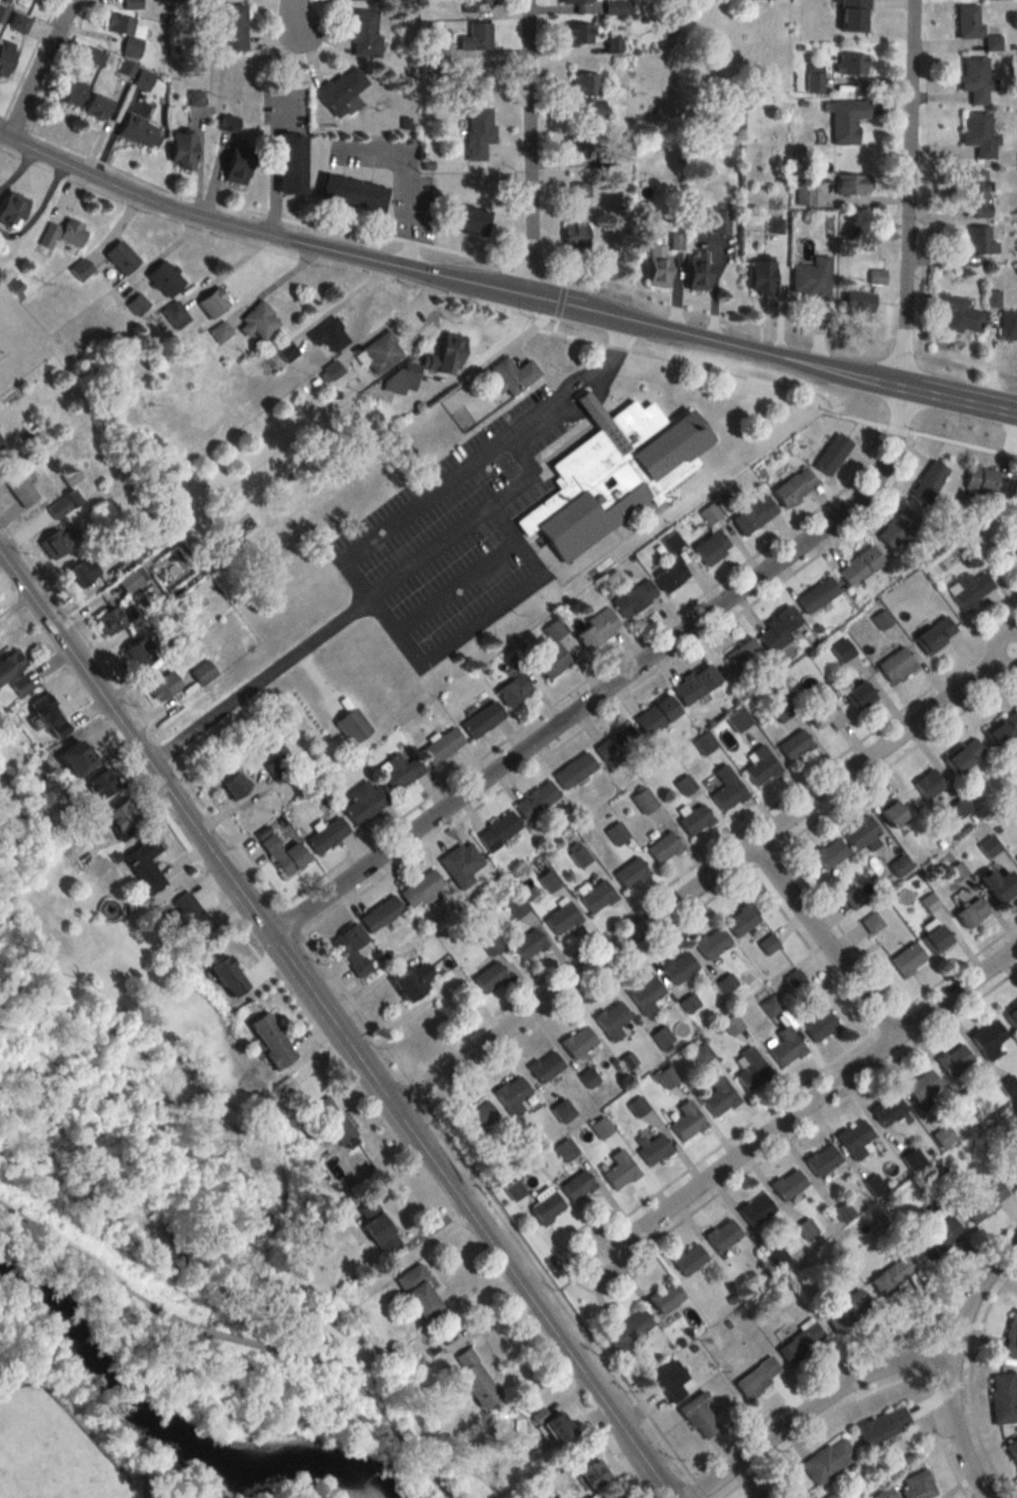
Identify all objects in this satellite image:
building: (571, 3)
building: (131, 4)
building: (478, 6)
building: (617, 7)
building: (852, 15)
road: (288, 21)
building: (967, 22)
building: (16, 23)
building: (231, 27)
building: (124, 33)
building: (576, 33)
building: (362, 34)
building: (475, 37)
building: (612, 45)
building: (5, 55)
building: (851, 63)
building: (125, 69)
road: (37, 70)
building: (975, 78)
building: (477, 81)
building: (340, 87)
building: (70, 89)
building: (586, 93)
building: (195, 97)
building: (95, 106)
building: (846, 120)
building: (136, 130)
building: (477, 131)
building: (978, 134)
road: (13, 145)
building: (572, 147)
building: (179, 149)
road: (527, 149)
building: (288, 163)
road: (269, 165)
building: (233, 166)
road: (17, 172)
road: (407, 182)
building: (850, 184)
building: (580, 189)
building: (975, 191)
building: (349, 193)
road: (906, 194)
building: (10, 209)
road: (37, 209)
building: (720, 218)
building: (467, 221)
road: (305, 226)
building: (61, 234)
building: (574, 236)
road: (273, 238)
building: (978, 241)
building: (118, 257)
road: (158, 258)
building: (655, 266)
road: (224, 269)
building: (695, 271)
building: (875, 276)
building: (162, 278)
building: (759, 278)
building: (810, 279)
road: (270, 286)
building: (210, 302)
building: (857, 302)
building: (135, 304)
road: (339, 305)
building: (173, 314)
building: (957, 314)
building: (256, 321)
road: (391, 322)
building: (1008, 325)
building: (218, 331)
building: (326, 336)
building: (284, 351)
building: (378, 352)
building: (446, 353)
road: (483, 357)
road: (772, 357)
building: (329, 370)
building: (510, 375)
building: (400, 377)
road: (780, 385)
road: (571, 387)
building: (3, 449)
building: (830, 454)
road: (527, 456)
building: (615, 474)
road: (455, 480)
building: (927, 482)
building: (987, 483)
building: (792, 487)
building: (17, 488)
building: (62, 505)
building: (751, 515)
building: (896, 529)
road: (456, 534)
building: (58, 542)
road: (514, 543)
building: (139, 547)
building: (709, 547)
park: (1000, 548)
road: (1006, 548)
building: (857, 567)
building: (78, 573)
building: (668, 576)
building: (131, 580)
road: (456, 587)
building: (967, 590)
building: (815, 595)
building: (633, 598)
road: (384, 612)
building: (109, 620)
road: (481, 621)
building: (596, 629)
building: (777, 630)
building: (933, 635)
building: (175, 640)
road: (1016, 645)
building: (841, 650)
building: (134, 655)
building: (741, 656)
building: (549, 660)
building: (8, 663)
building: (894, 665)
building: (200, 673)
road: (261, 681)
road: (613, 682)
road: (322, 683)
building: (693, 685)
building: (15, 686)
building: (161, 687)
building: (511, 690)
building: (858, 696)
building: (822, 714)
building: (655, 715)
building: (44, 717)
building: (481, 719)
building: (351, 725)
building: (1002, 730)
building: (614, 743)
building: (440, 746)
building: (793, 746)
building: (962, 756)
building: (758, 766)
building: (275, 770)
building: (572, 771)
building: (396, 772)
building: (926, 783)
building: (97, 784)
building: (229, 787)
building: (726, 789)
building: (534, 800)
building: (643, 801)
building: (361, 802)
building: (959, 807)
road: (760, 814)
building: (890, 814)
building: (694, 820)
building: (496, 830)
building: (860, 834)
building: (325, 836)
building: (988, 847)
building: (661, 849)
building: (828, 853)
building: (281, 855)
building: (579, 856)
road: (0, 857)
building: (459, 865)
building: (141, 866)
building: (898, 866)
building: (629, 873)
road: (705, 880)
building: (997, 887)
building: (418, 889)
road: (720, 890)
building: (595, 897)
building: (853, 898)
building: (515, 907)
building: (969, 913)
building: (378, 915)
building: (183, 917)
building: (560, 918)
building: (740, 920)
building: (871, 923)
building: (347, 938)
building: (935, 939)
road: (823, 941)
building: (710, 942)
building: (766, 944)
building: (490, 945)
building: (526, 945)
building: (906, 959)
building: (677, 967)
building: (221, 977)
building: (487, 978)
building: (410, 982)
building: (725, 984)
building: (645, 995)
building: (687, 1003)
building: (1011, 1016)
building: (610, 1020)
building: (731, 1024)
road: (333, 1027)
building: (819, 1027)
building: (661, 1036)
building: (986, 1039)
building: (266, 1041)
building: (577, 1041)
building: (785, 1047)
building: (701, 1053)
building: (952, 1060)
building: (544, 1066)
building: (750, 1070)
building: (921, 1086)
building: (1008, 1086)
building: (510, 1094)
building: (718, 1097)
building: (966, 1098)
road: (807, 1102)
building: (886, 1109)
building: (561, 1111)
building: (478, 1117)
building: (685, 1122)
building: (328, 1123)
building: (599, 1127)
building: (942, 1137)
building: (854, 1139)
building: (651, 1149)
building: (564, 1150)
building: (912, 1159)
building: (821, 1160)
building: (618, 1171)
road: (474, 1173)
building: (1012, 1176)
building: (786, 1185)
building: (575, 1186)
building: (513, 1190)
building: (983, 1201)
building: (544, 1207)
building: (754, 1211)
building: (374, 1228)
building: (804, 1229)
building: (721, 1235)
building: (937, 1238)
road: (63, 1243)
building: (687, 1259)
building: (778, 1261)
building: (891, 1276)
building: (414, 1291)
building: (663, 1298)
road: (974, 1298)
building: (845, 1311)
road: (192, 1326)
building: (625, 1329)
building: (1010, 1338)
building: (798, 1342)
building: (755, 1377)
building: (473, 1379)
building: (670, 1380)
building: (1002, 1398)
road: (373, 1405)
road: (810, 1408)
building: (696, 1416)
building: (551, 1425)
building: (881, 1425)
river: (166, 1428)
road: (955, 1431)
building: (1012, 1452)
building: (826, 1460)
building: (589, 1474)
building: (914, 1485)
building: (762, 1493)
building: (609, 1495)

